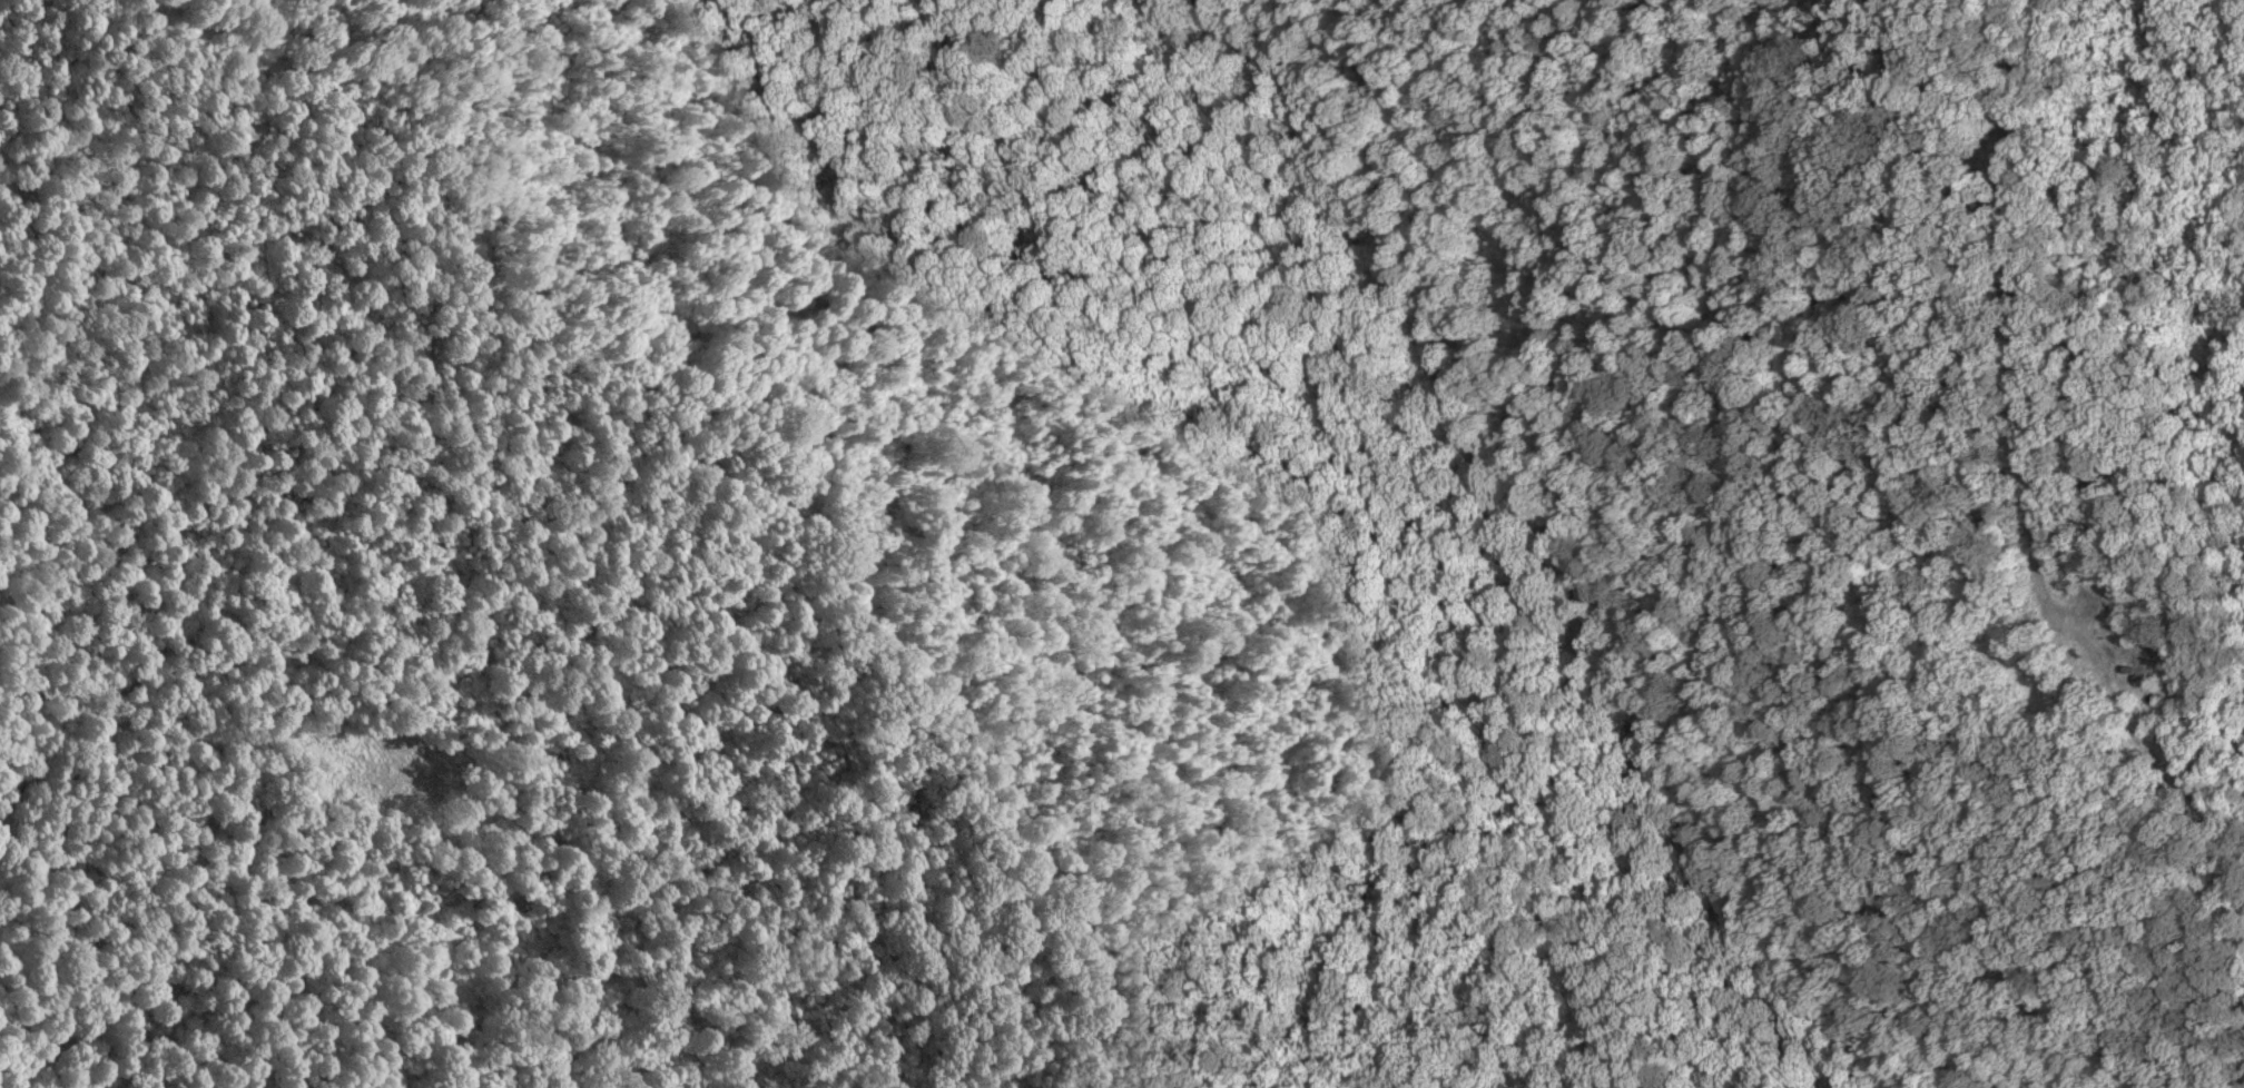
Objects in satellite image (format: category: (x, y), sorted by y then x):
road: (2029, 344)

